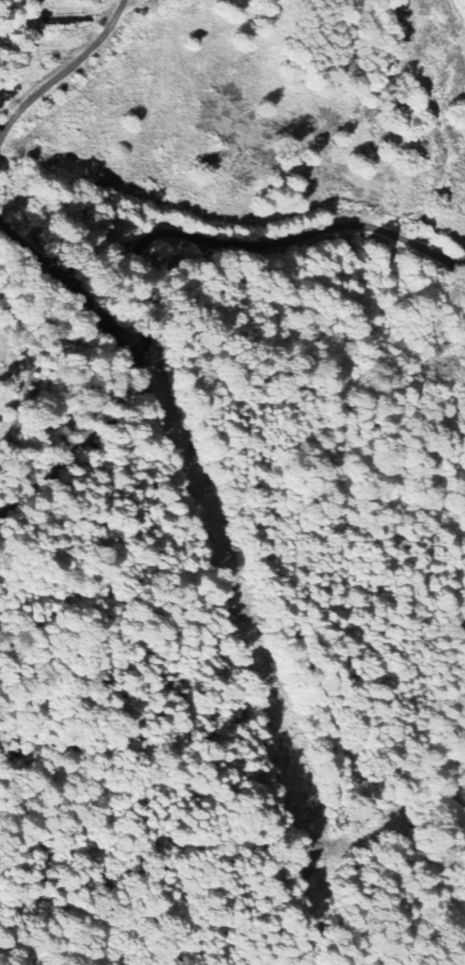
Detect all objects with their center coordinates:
road: (63, 70)
road: (154, 233)
park: (4, 405)
road: (79, 434)

